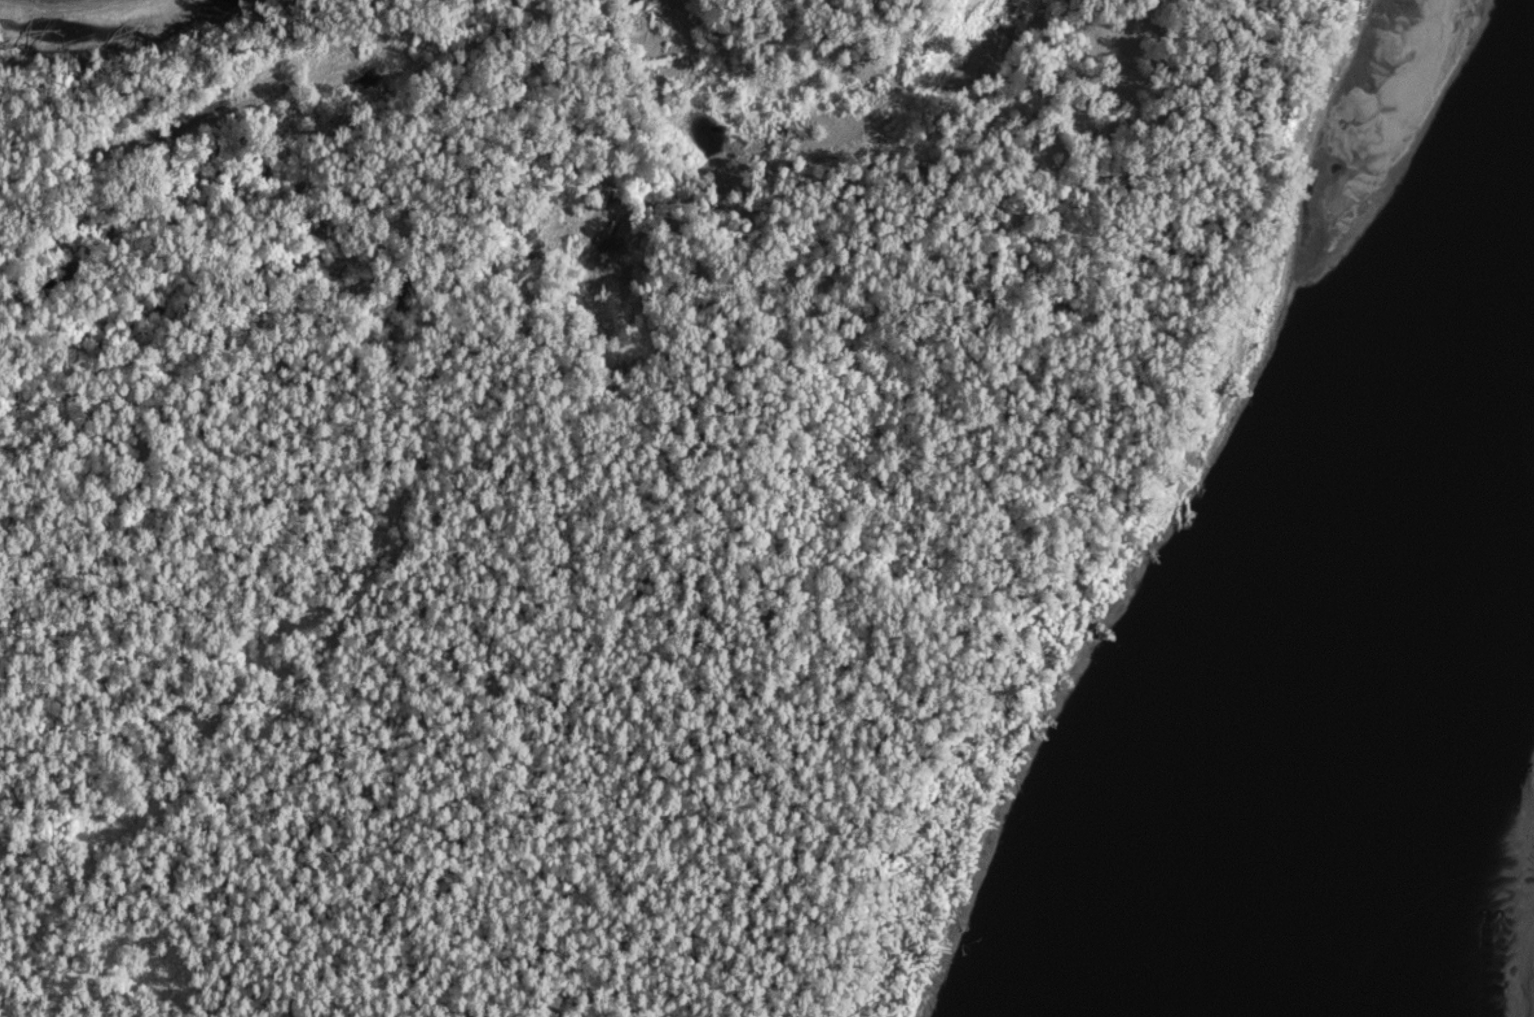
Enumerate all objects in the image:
river: (1243, 580)

